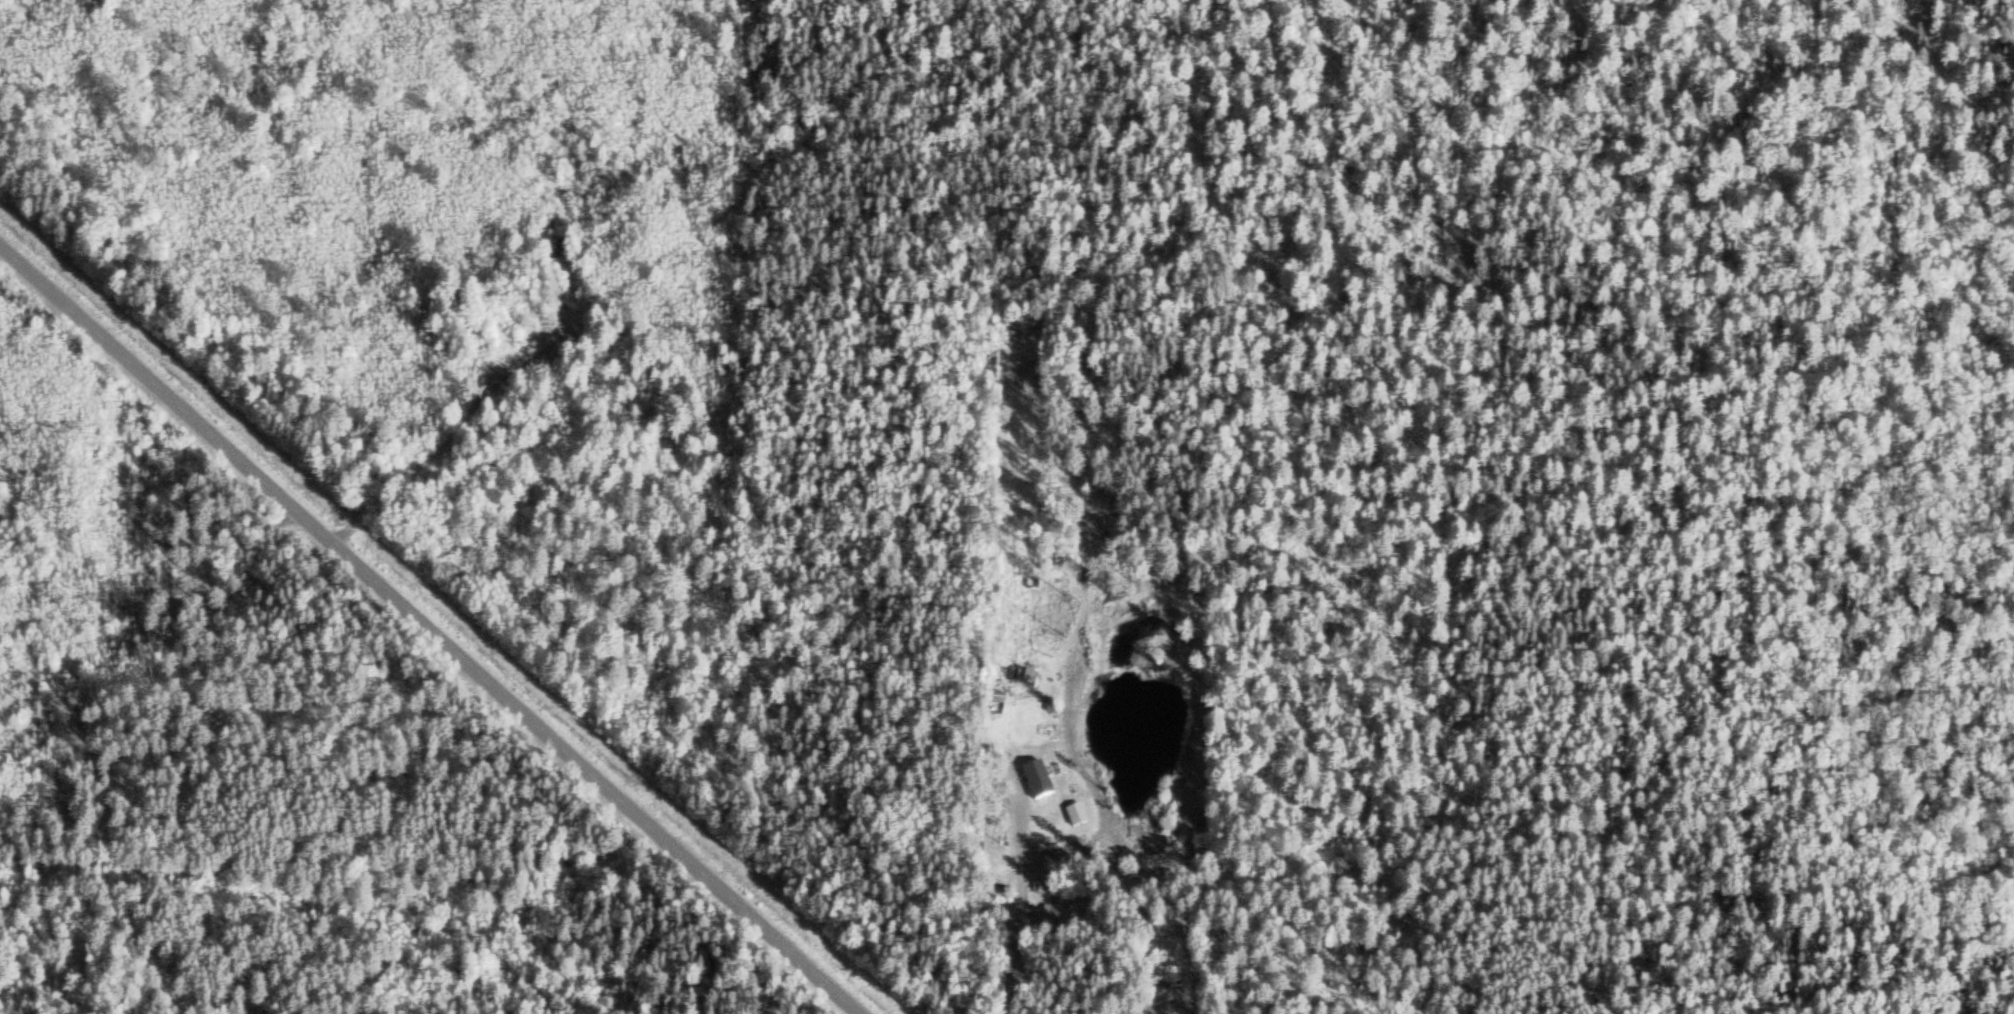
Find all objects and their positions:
road: (145, 377)
road: (140, 532)
park: (299, 553)
building: (1030, 677)
road: (571, 760)
building: (1041, 781)
building: (1055, 919)

